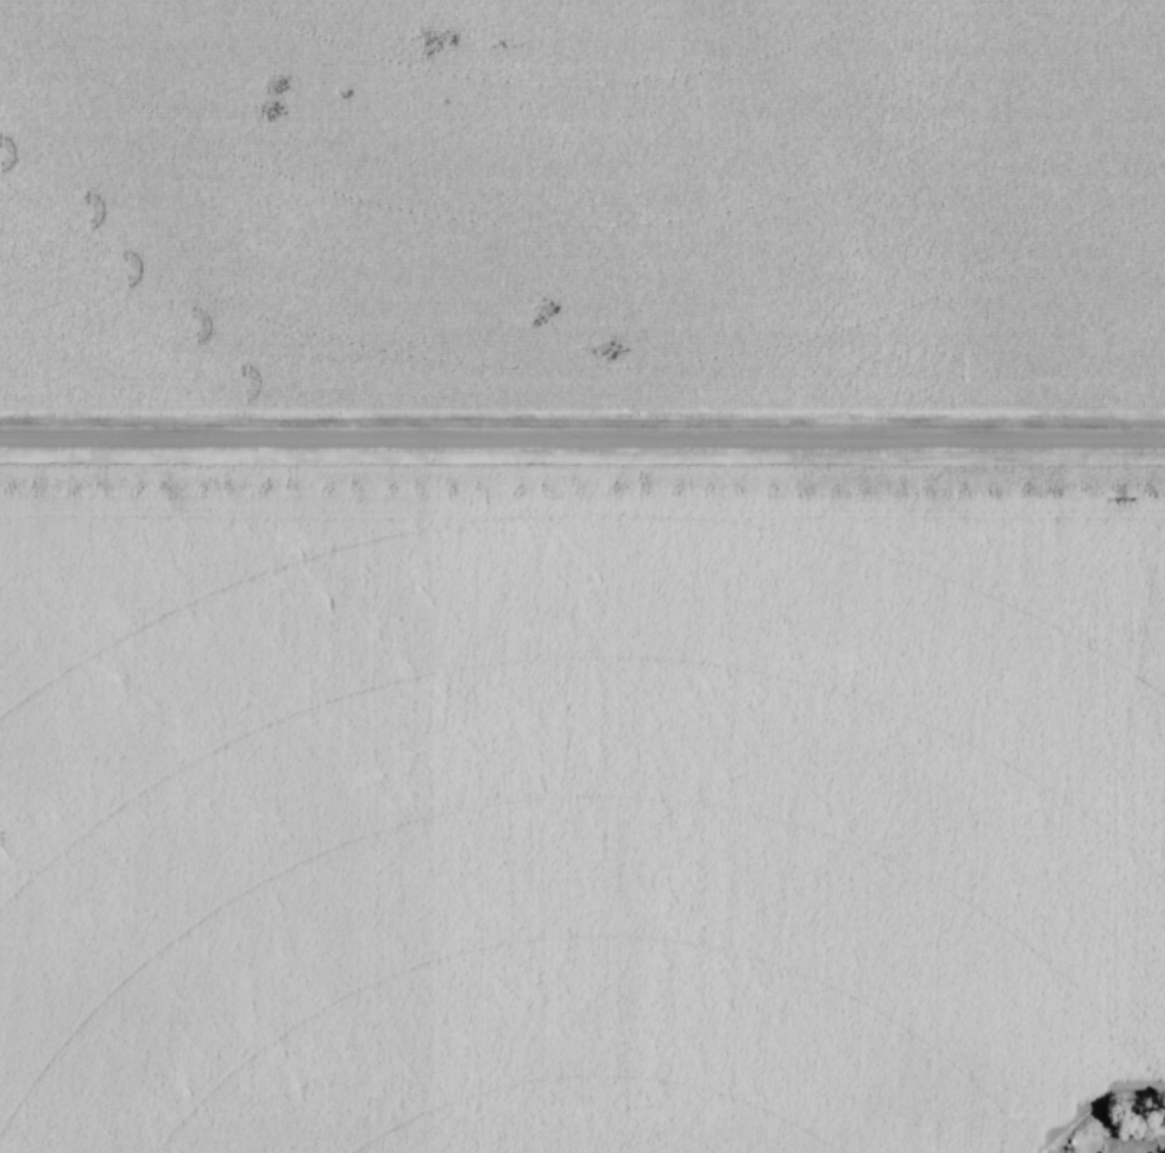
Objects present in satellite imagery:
road: (582, 441)

